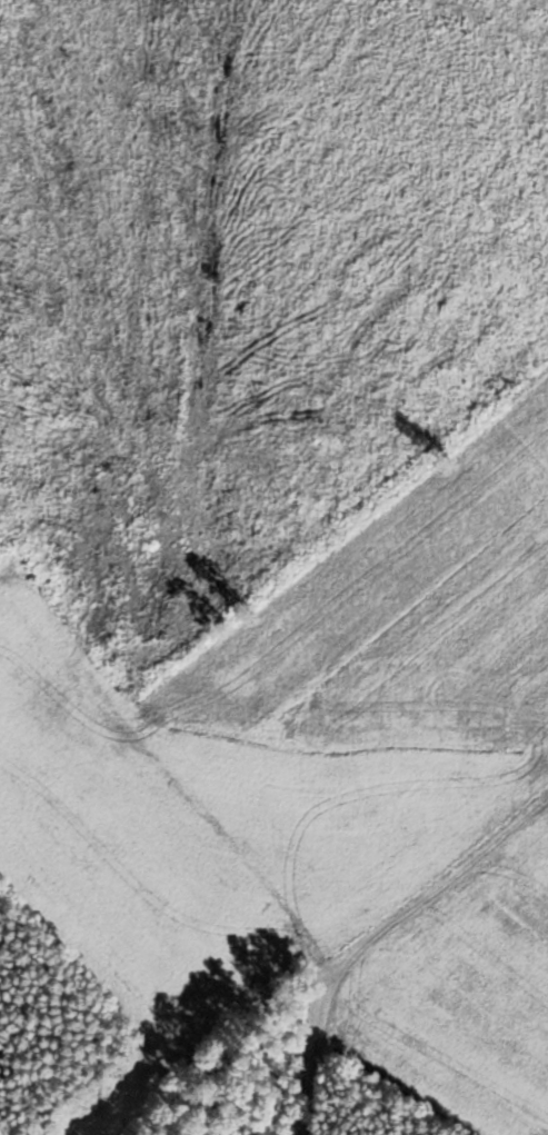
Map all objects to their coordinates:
road: (369, 933)

